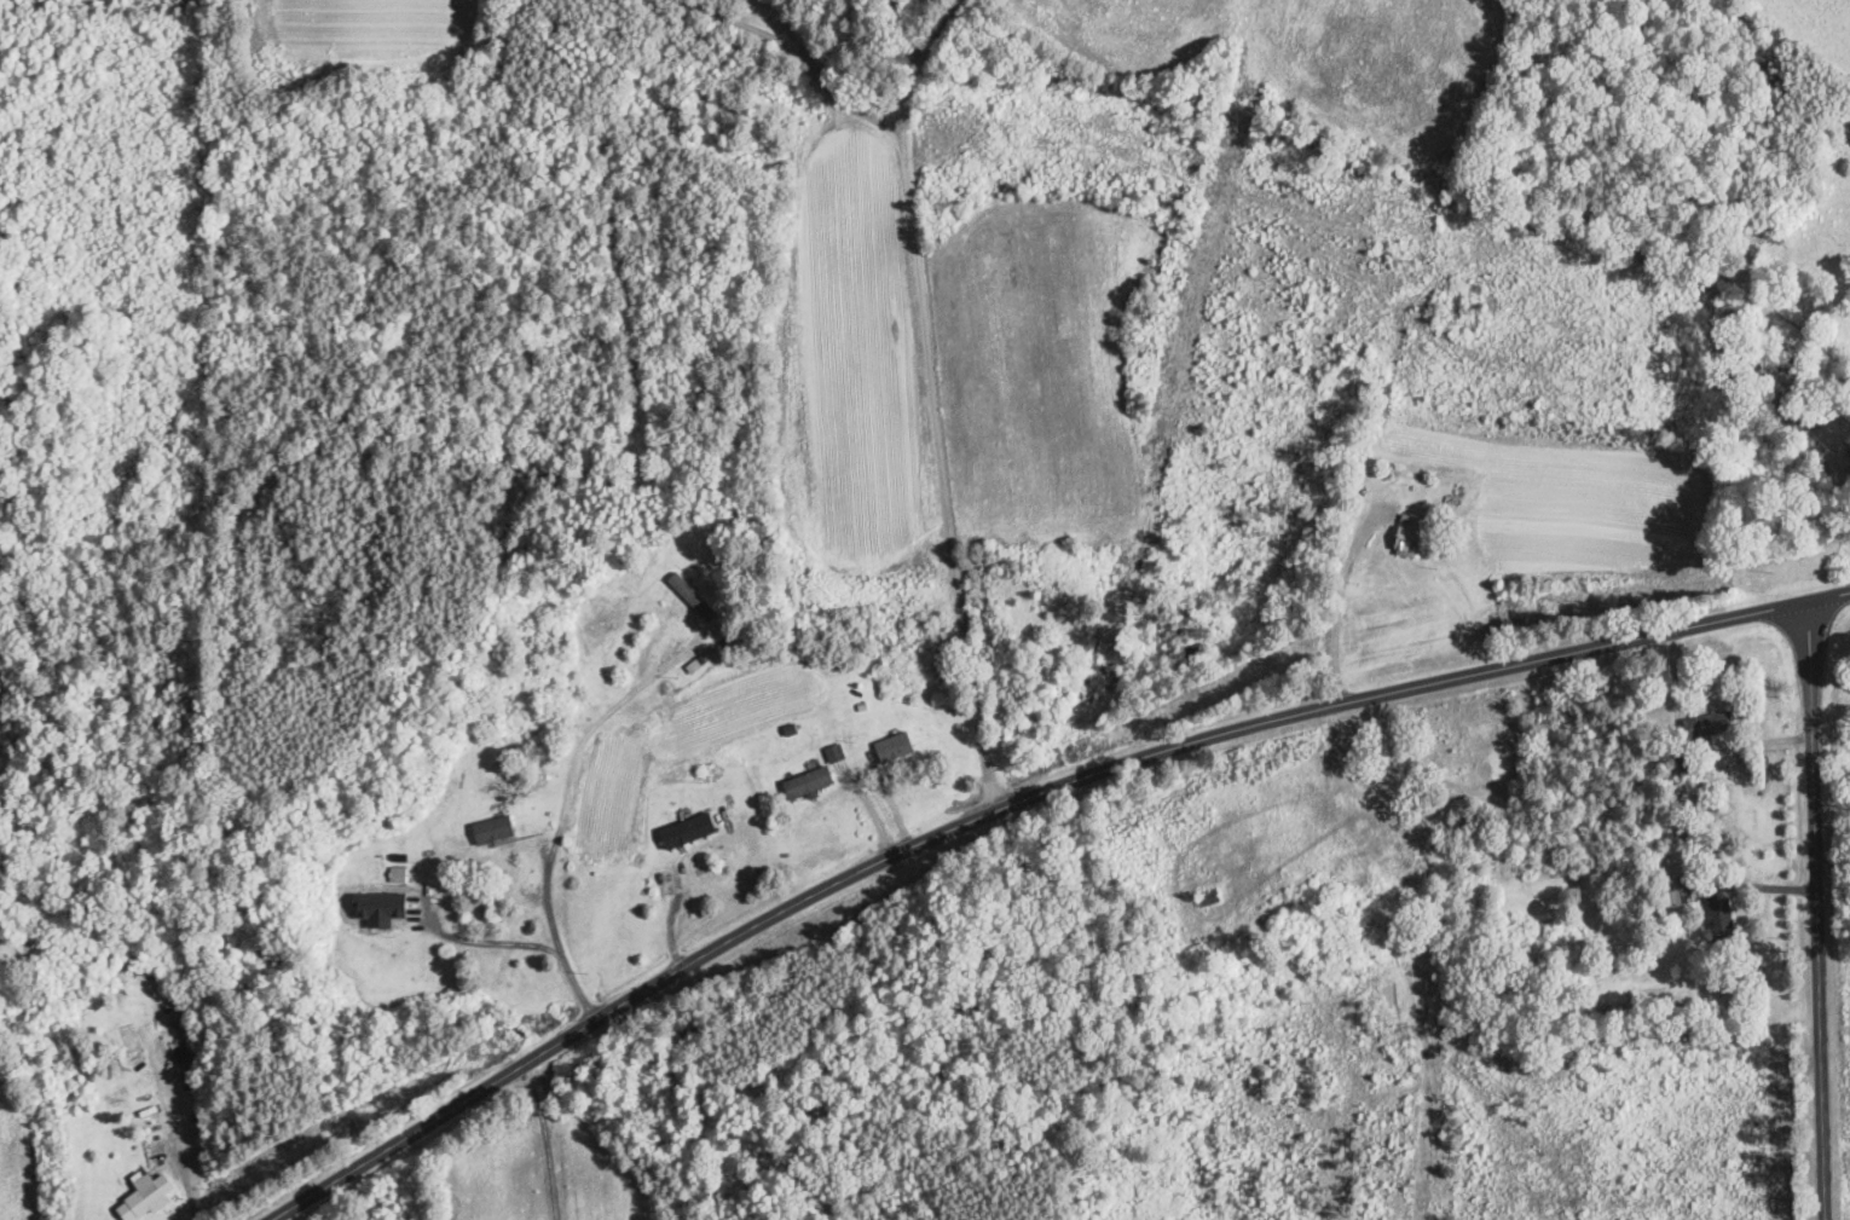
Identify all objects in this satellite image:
road: (744, 24)
road: (907, 35)
road: (823, 77)
building: (1794, 366)
road: (926, 401)
building: (1786, 420)
road: (1843, 480)
building: (1409, 536)
building: (677, 647)
building: (1709, 724)
building: (894, 747)
building: (834, 753)
building: (808, 782)
road: (1022, 802)
road: (561, 819)
building: (493, 829)
building: (687, 831)
building: (1209, 896)
road: (672, 902)
building: (382, 903)
road: (1811, 907)
building: (1721, 920)
road: (486, 942)
building: (146, 971)

